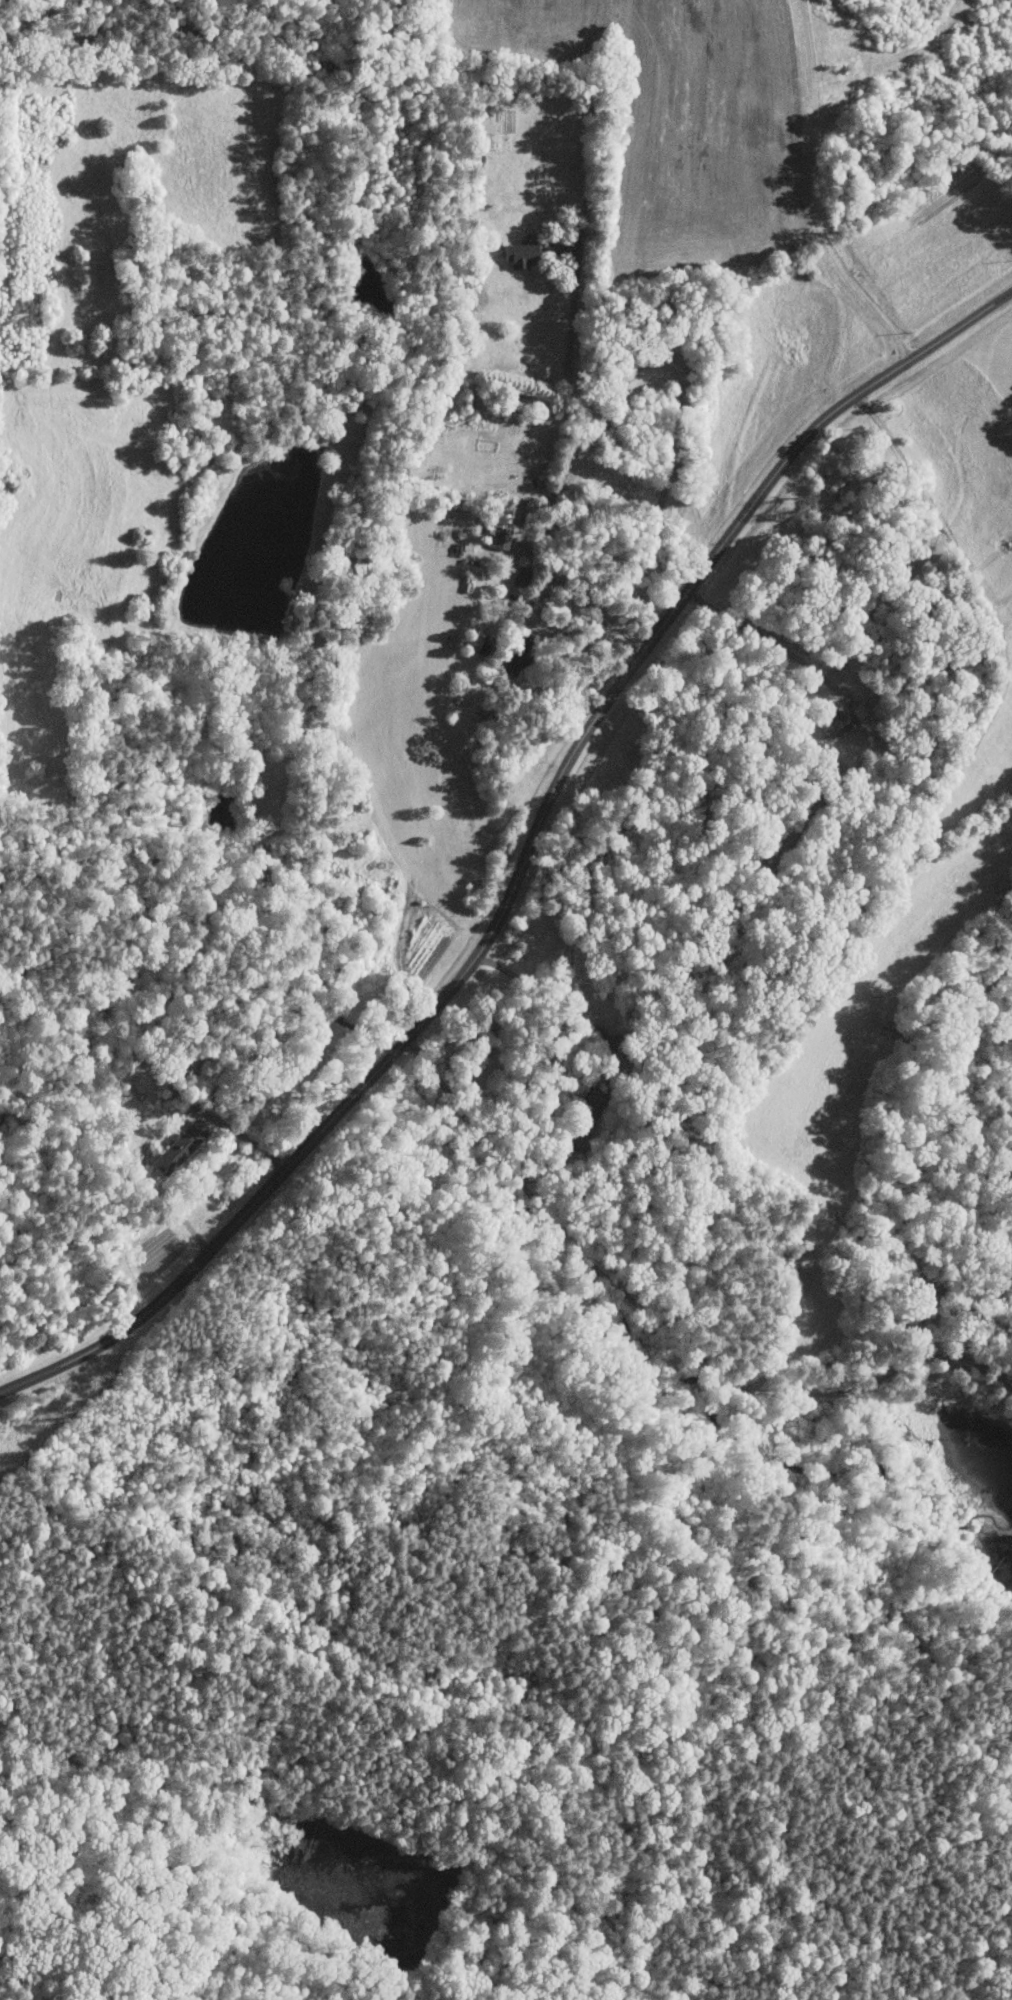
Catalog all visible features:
road: (808, 194)
building: (517, 254)
road: (678, 365)
road: (849, 449)
building: (498, 536)
road: (937, 548)
road: (550, 582)
road: (769, 642)
building: (832, 725)
road: (400, 857)
road: (524, 859)
road: (452, 910)
road: (558, 1011)
road: (158, 1124)
building: (179, 1147)

